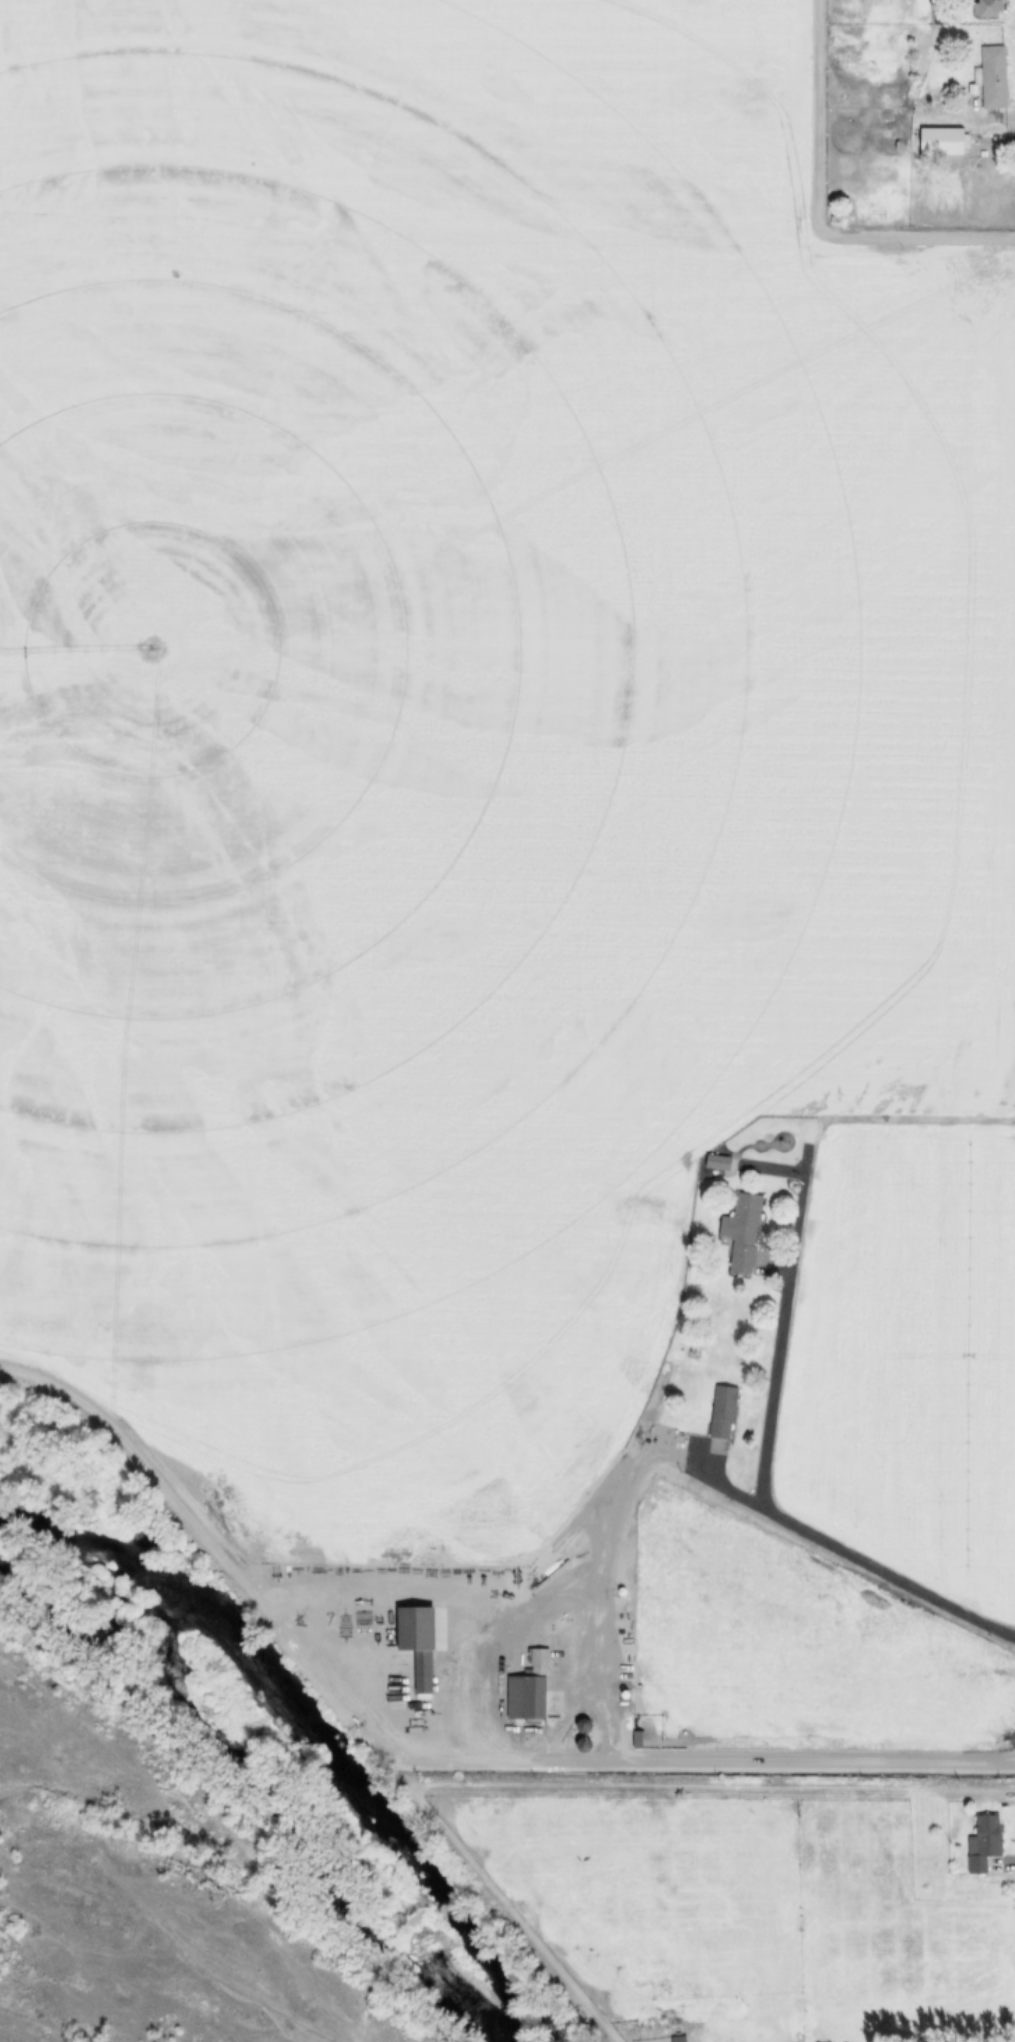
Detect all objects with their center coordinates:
building: (988, 8)
building: (994, 76)
building: (944, 139)
building: (718, 1161)
building: (742, 1230)
road: (780, 1351)
building: (723, 1411)
road: (218, 1547)
road: (596, 1581)
building: (419, 1642)
road: (598, 1678)
building: (528, 1686)
building: (583, 1724)
building: (637, 1738)
building: (583, 1743)
road: (523, 1762)
building: (984, 1841)
building: (678, 2037)

